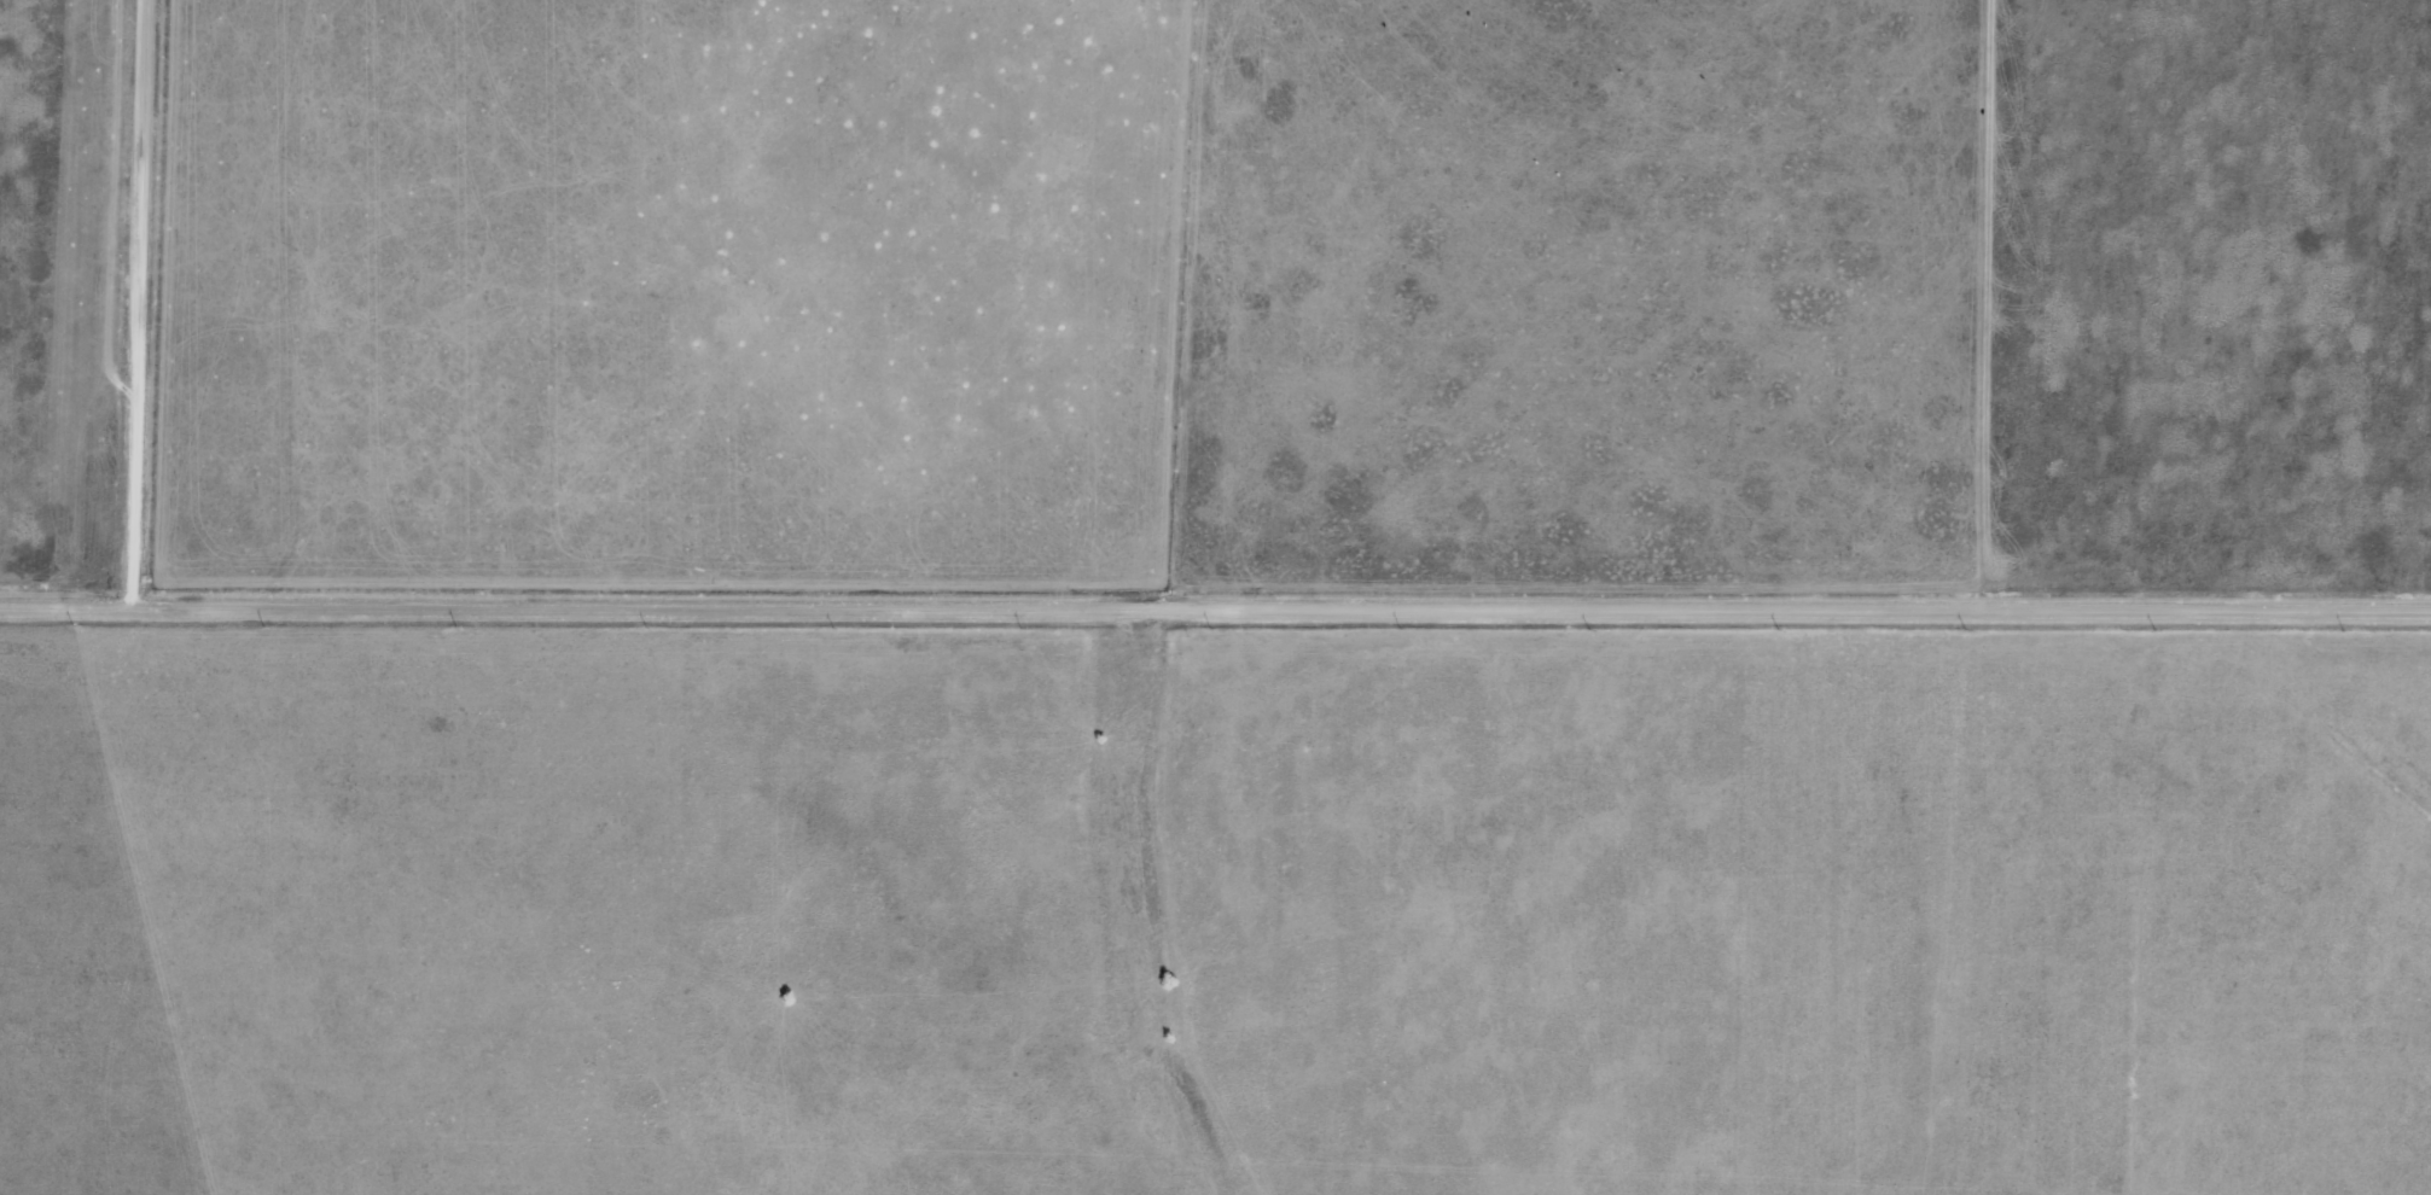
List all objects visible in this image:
road: (140, 304)
road: (1215, 614)

